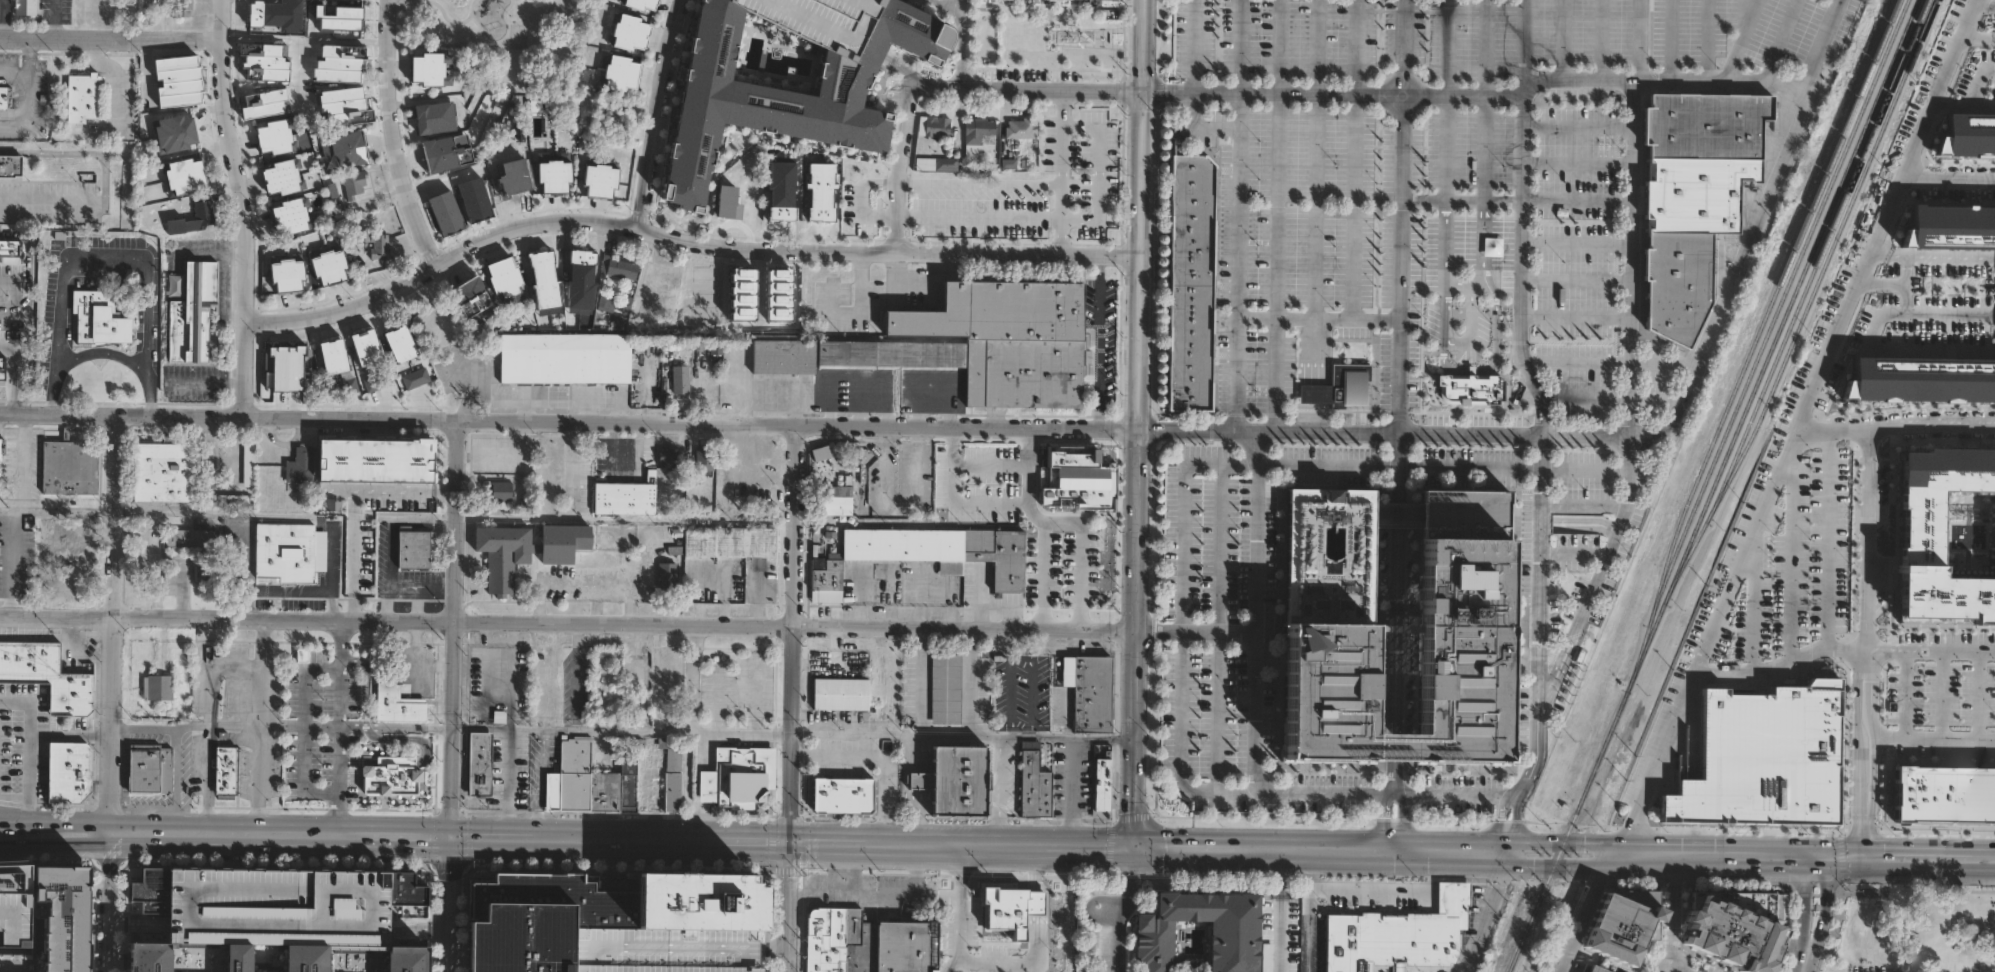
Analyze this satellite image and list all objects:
road: (1984, 2)
building: (633, 4)
road: (949, 5)
building: (26, 7)
building: (183, 7)
building: (264, 13)
road: (1744, 14)
road: (1, 17)
road: (51, 17)
building: (346, 18)
building: (817, 20)
parking garage: (817, 20)
building: (626, 32)
road: (112, 34)
road: (835, 35)
park: (481, 36)
road: (1977, 37)
park: (1055, 38)
road: (488, 39)
road: (1562, 39)
road: (1600, 39)
road: (1670, 40)
road: (1706, 40)
road: (1740, 40)
road: (1779, 41)
road: (961, 43)
road: (1144, 45)
building: (260, 53)
building: (334, 62)
building: (428, 68)
building: (618, 72)
building: (181, 76)
road: (1193, 83)
road: (1027, 89)
building: (781, 93)
road: (1477, 93)
building: (4, 97)
building: (261, 99)
road: (1445, 99)
road: (1482, 100)
building: (89, 101)
road: (1963, 105)
building: (342, 106)
building: (617, 114)
road: (659, 115)
building: (435, 116)
road: (1579, 124)
building: (1703, 124)
building: (934, 126)
building: (1015, 129)
building: (176, 133)
building: (974, 133)
building: (1966, 134)
building: (275, 137)
road: (390, 137)
building: (341, 150)
road: (75, 152)
building: (448, 152)
road: (1353, 157)
road: (1315, 158)
building: (944, 162)
road: (1578, 162)
road: (901, 165)
building: (10, 166)
building: (196, 171)
road: (1098, 172)
road: (1065, 173)
road: (1143, 174)
building: (551, 176)
building: (282, 177)
road: (1948, 177)
building: (598, 180)
building: (352, 183)
building: (510, 187)
road: (983, 188)
building: (1694, 193)
building: (473, 199)
road: (1516, 201)
road: (48, 204)
road: (247, 207)
building: (204, 210)
building: (741, 210)
building: (778, 211)
building: (443, 212)
road: (1238, 214)
road: (1275, 215)
building: (287, 216)
road: (981, 217)
road: (1758, 222)
building: (1948, 223)
road: (1577, 240)
road: (684, 242)
building: (375, 243)
road: (1398, 251)
road: (1953, 251)
road: (103, 256)
building: (582, 261)
building: (326, 263)
building: (623, 267)
road: (26, 269)
road: (1911, 271)
building: (285, 272)
building: (502, 276)
building: (660, 276)
road: (1576, 279)
building: (543, 282)
road: (1462, 282)
building: (0, 283)
building: (1188, 283)
building: (1676, 284)
building: (469, 297)
building: (605, 301)
road: (1940, 302)
building: (191, 313)
road: (1576, 314)
road: (1335, 316)
building: (96, 317)
building: (985, 341)
road: (1098, 341)
railway: (1755, 342)
building: (398, 343)
building: (363, 347)
building: (715, 350)
road: (97, 353)
building: (780, 355)
building: (13, 356)
building: (331, 356)
building: (565, 358)
road: (1613, 360)
building: (286, 363)
road: (1630, 365)
road: (1478, 368)
road: (9, 374)
building: (1922, 377)
building: (681, 380)
building: (1337, 385)
building: (1468, 389)
road: (148, 398)
road: (1613, 398)
road: (49, 399)
road: (829, 423)
road: (1795, 425)
road: (1939, 426)
road: (1838, 430)
road: (611, 443)
road: (1139, 455)
building: (670, 459)
building: (374, 460)
building: (706, 460)
road: (18, 462)
road: (1033, 462)
building: (247, 464)
road: (573, 464)
road: (1442, 465)
building: (71, 467)
building: (297, 467)
building: (164, 473)
building: (0, 474)
building: (994, 483)
railway: (1717, 486)
building: (502, 491)
building: (627, 495)
building: (845, 496)
building: (234, 500)
road: (1584, 505)
road: (352, 509)
road: (1038, 509)
road: (7, 510)
road: (66, 512)
building: (1394, 515)
road: (1396, 515)
building: (152, 525)
road: (1542, 528)
building: (1994, 533)
parking garage: (1994, 533)
road: (1868, 537)
building: (1935, 538)
road: (1826, 541)
building: (232, 542)
building: (727, 542)
building: (81, 545)
road: (1789, 547)
building: (415, 549)
building: (523, 550)
building: (945, 550)
building: (288, 551)
road: (1574, 551)
building: (210, 556)
building: (145, 561)
road: (8, 563)
building: (236, 565)
parking lot: (1793, 567)
building: (218, 572)
building: (367, 572)
building: (77, 573)
building: (666, 575)
road: (1044, 575)
building: (827, 580)
road: (307, 592)
road: (1751, 597)
road: (116, 624)
road: (627, 625)
road: (1218, 626)
road: (450, 630)
road: (1394, 632)
road: (792, 633)
road: (1930, 649)
road: (1866, 654)
road: (1018, 656)
road: (1777, 664)
building: (542, 667)
building: (668, 670)
building: (48, 676)
road: (644, 678)
building: (1325, 679)
road: (1871, 680)
road: (364, 683)
road: (919, 683)
road: (970, 684)
building: (156, 687)
building: (944, 688)
parking lot: (1018, 692)
road: (1903, 693)
building: (1091, 694)
road: (1939, 694)
building: (839, 695)
road: (1974, 695)
parking lot: (1938, 696)
building: (397, 705)
road: (1855, 708)
building: (657, 718)
road: (1136, 724)
road: (282, 726)
road: (207, 727)
road: (259, 728)
road: (338, 729)
road: (564, 729)
road: (632, 730)
road: (689, 730)
road: (303, 731)
road: (508, 731)
road: (71, 736)
road: (963, 736)
road: (1933, 737)
road: (410, 740)
road: (28, 750)
road: (1392, 750)
road: (705, 752)
road: (876, 759)
building: (1759, 760)
road: (356, 761)
road: (393, 762)
building: (477, 764)
building: (149, 769)
road: (1871, 770)
building: (67, 771)
building: (227, 771)
building: (671, 774)
building: (389, 777)
building: (738, 778)
building: (594, 779)
building: (958, 780)
road: (537, 784)
building: (1099, 785)
road: (704, 787)
building: (1035, 787)
road: (998, 791)
road: (1200, 791)
road: (1068, 792)
building: (1943, 792)
building: (840, 795)
road: (14, 796)
road: (1854, 799)
road: (1391, 806)
road: (14, 818)
road: (1133, 821)
road: (704, 822)
road: (1510, 822)
road: (57, 823)
traffic signals: (450, 839)
road: (622, 841)
traffic signals: (789, 843)
road: (71, 844)
road: (15, 846)
traffic signals: (1132, 847)
road: (1863, 847)
road: (1563, 851)
traffic signals: (1805, 856)
traffic signals: (1826, 856)
traffic signals: (1863, 857)
road: (1036, 868)
road: (850, 870)
road: (915, 870)
road: (450, 875)
road: (1940, 889)
building: (402, 890)
building: (148, 892)
road: (1390, 892)
road: (875, 897)
road: (113, 903)
road: (1035, 904)
building: (696, 905)
road: (788, 907)
building: (13, 908)
building: (276, 909)
parking garage: (276, 909)
road: (1124, 909)
road: (960, 910)
road: (1281, 910)
road: (1308, 910)
road: (1492, 911)
road: (1849, 911)
road: (1585, 913)
road: (1672, 913)
building: (541, 917)
building: (55, 921)
road: (140, 922)
road: (417, 927)
building: (1619, 929)
building: (1733, 929)
park: (1909, 929)
building: (1395, 935)
building: (1010, 938)
road: (450, 941)
building: (868, 942)
building: (1232, 947)
road: (771, 949)
building: (661, 953)
parking garage: (661, 953)
building: (146, 957)
building: (1265, 957)
building: (235, 959)
building: (301, 960)
building: (401, 960)
road: (1015, 963)
road: (1810, 964)
parking lot: (1878, 968)
building: (1596, 969)
road: (1677, 970)

